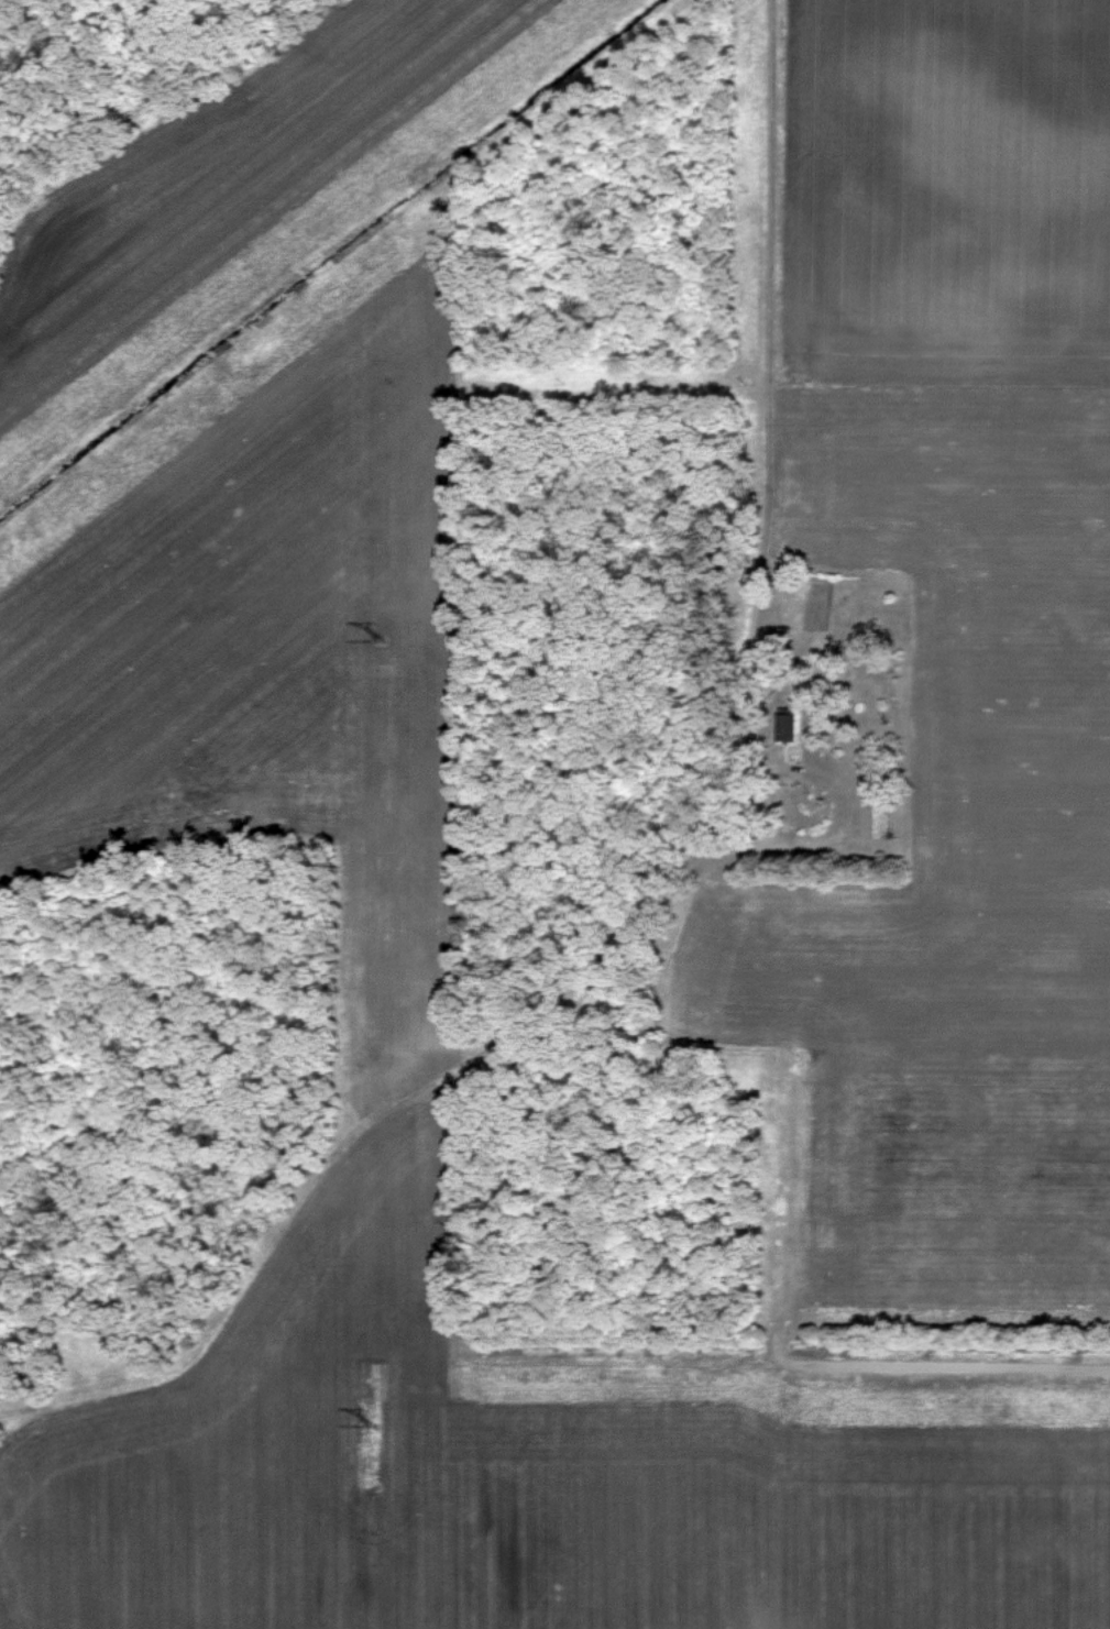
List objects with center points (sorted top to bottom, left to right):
road: (765, 382)

